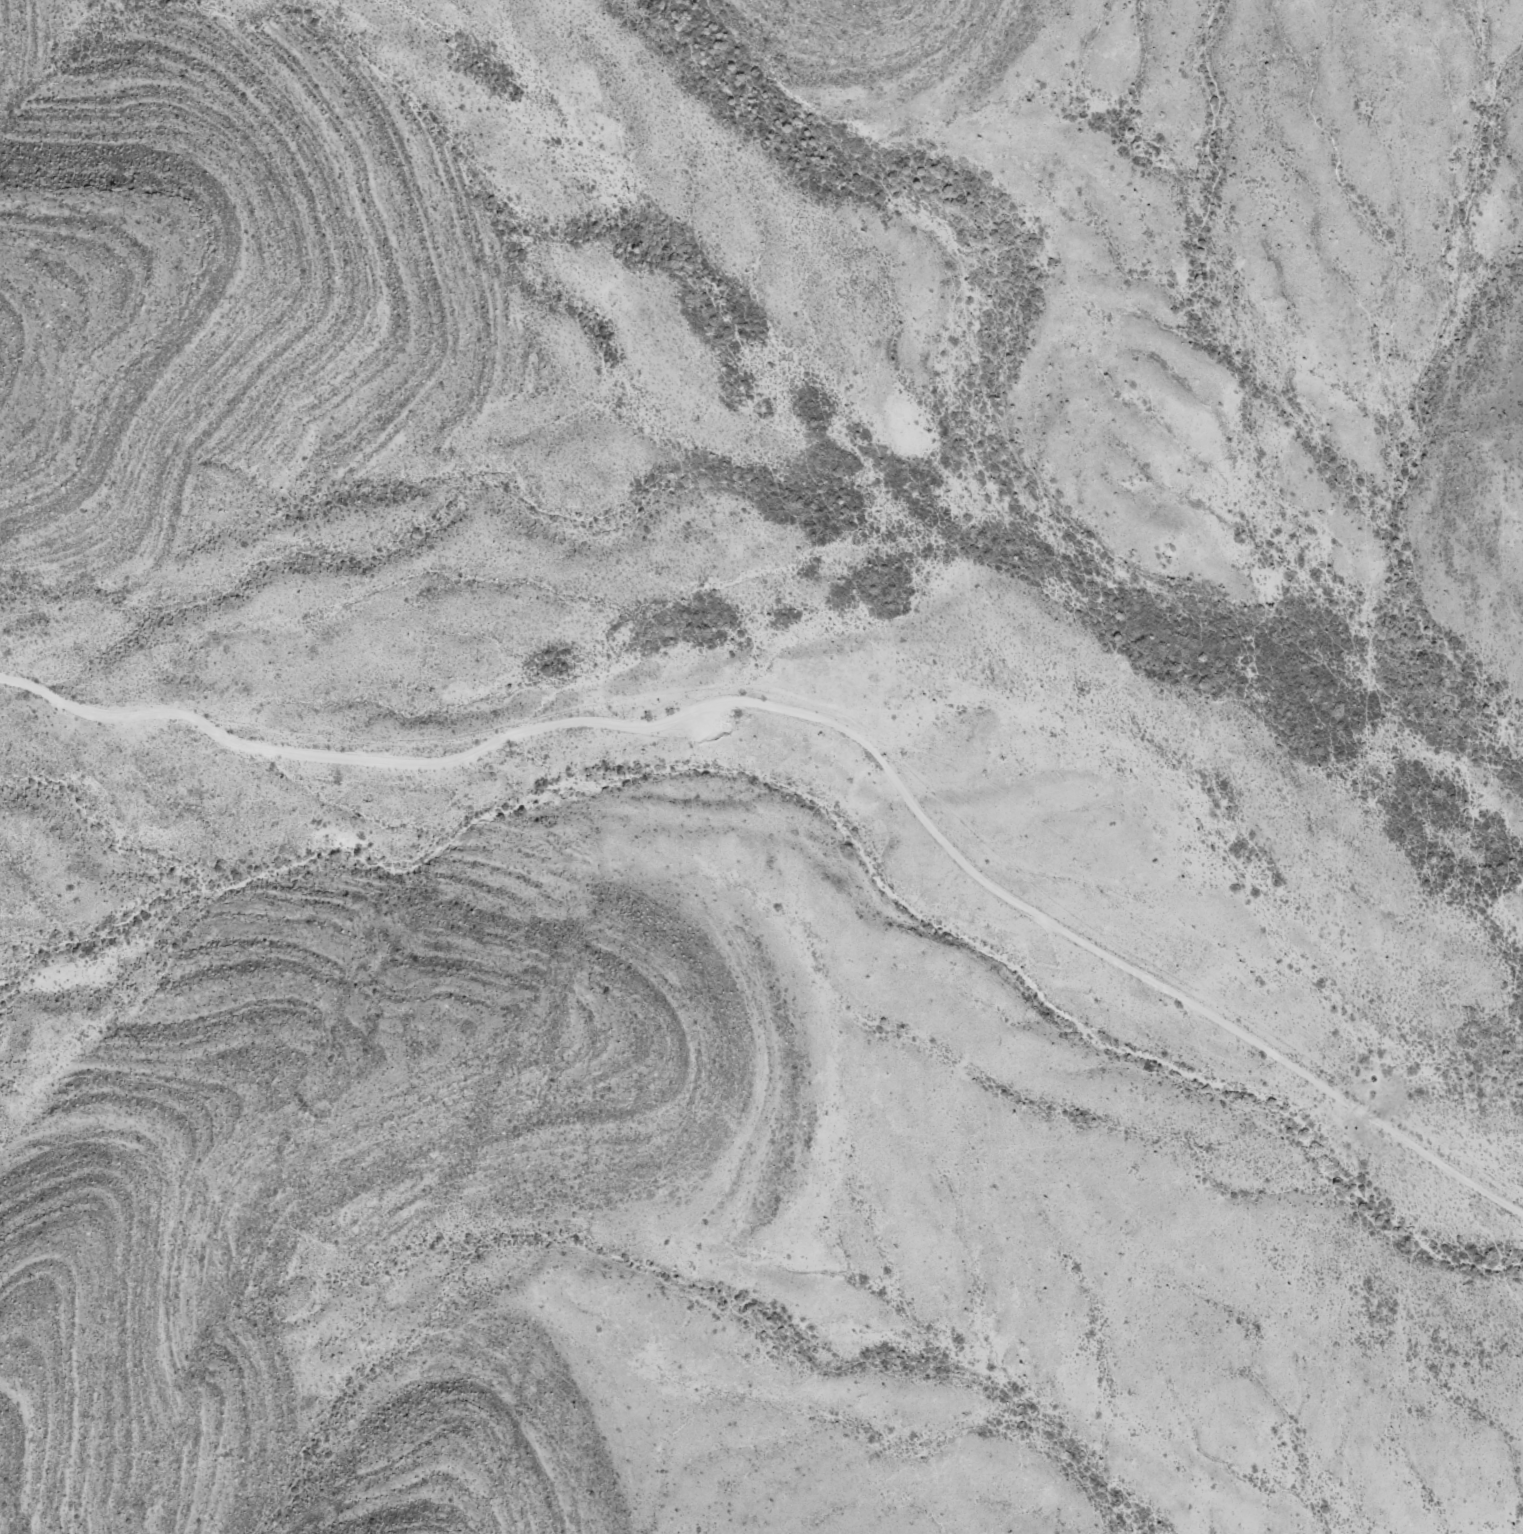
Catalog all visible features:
road: (833, 691)

